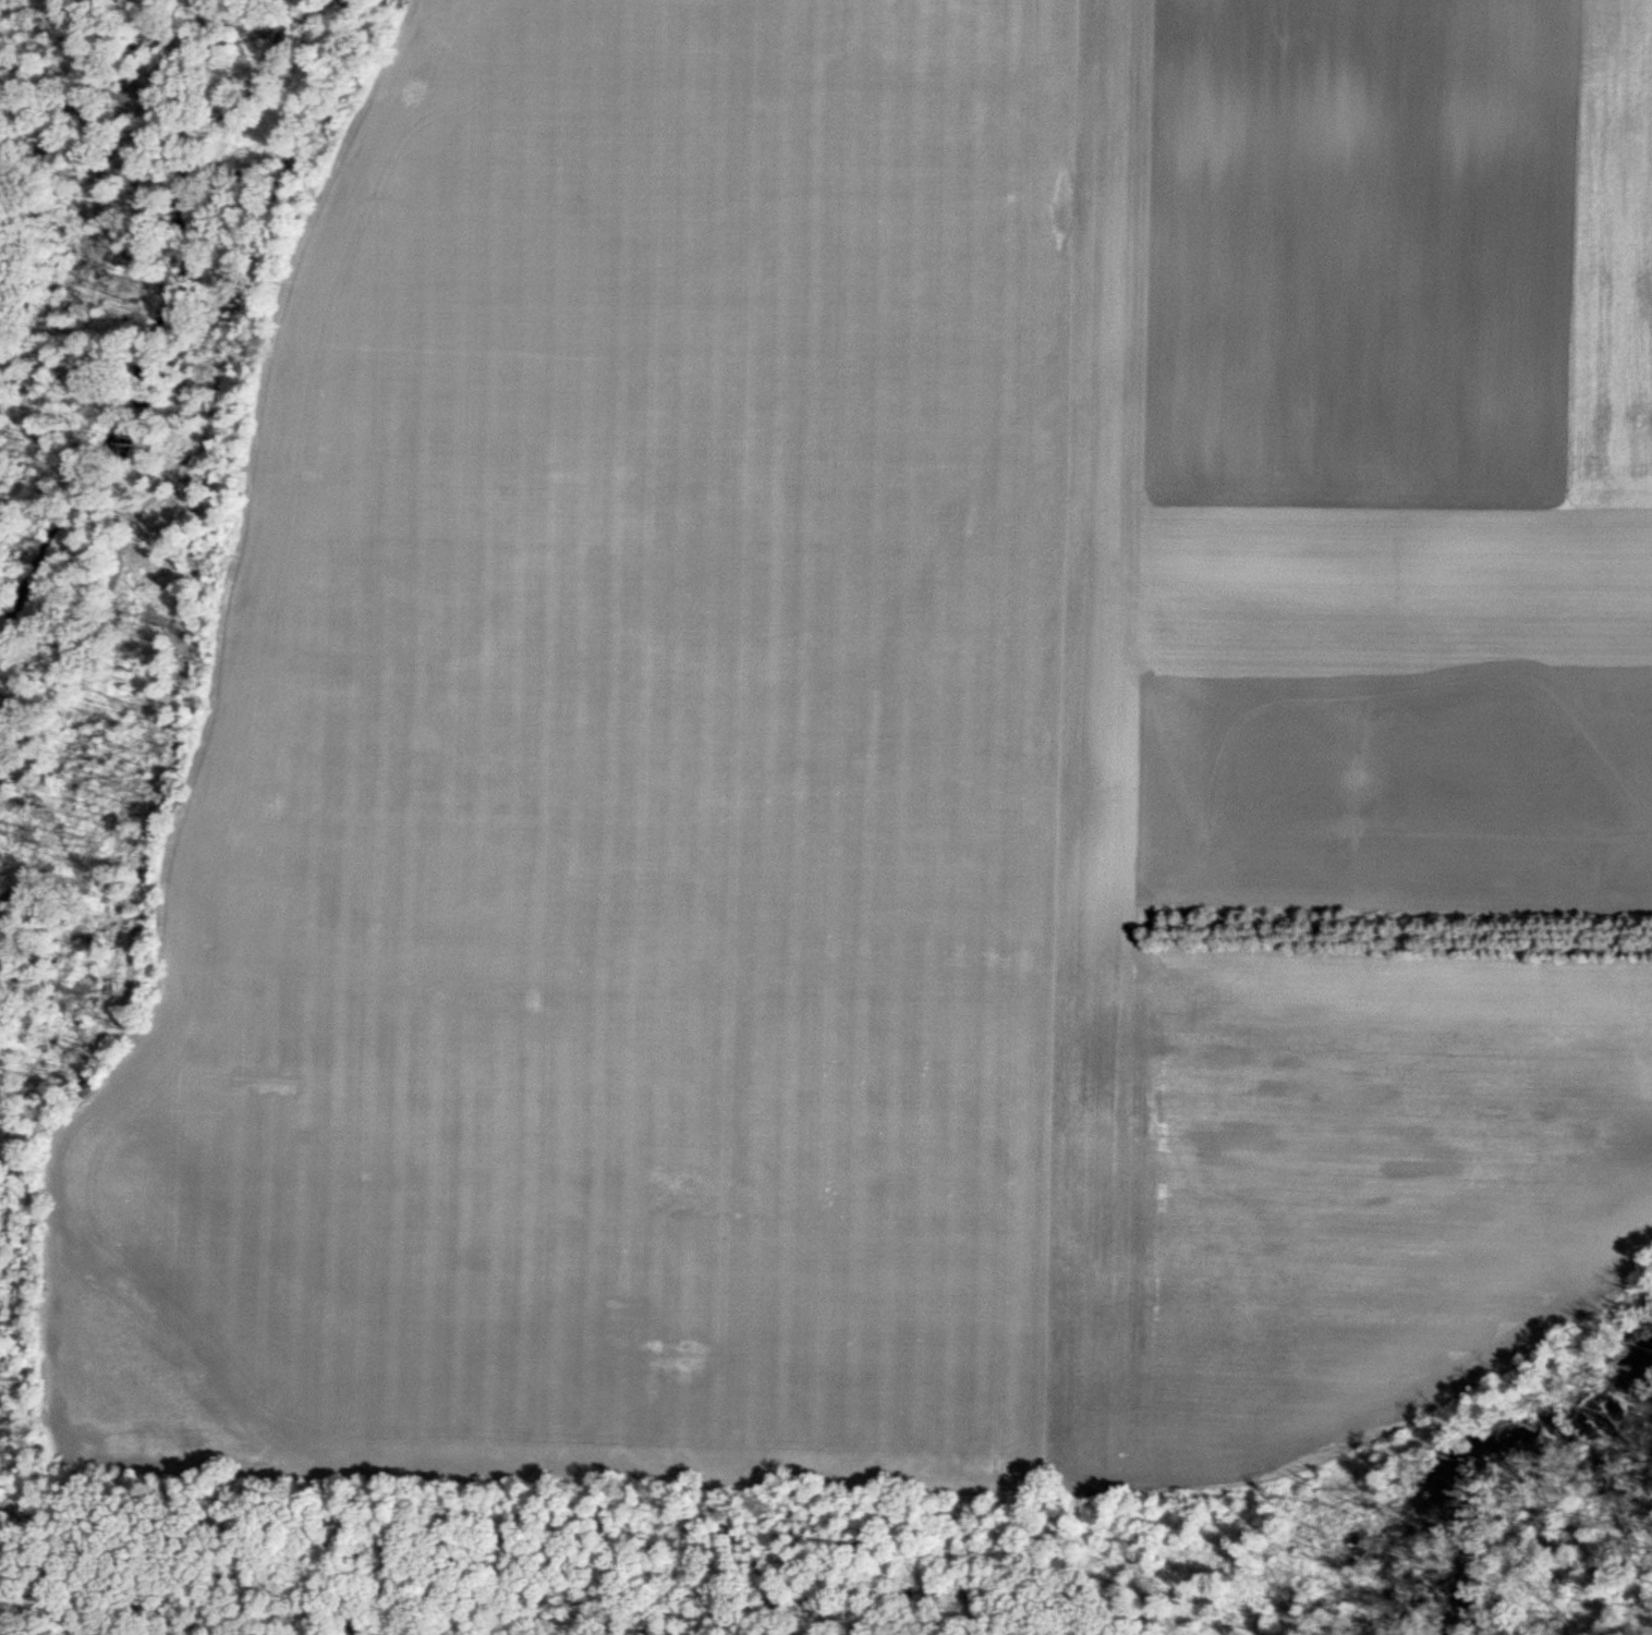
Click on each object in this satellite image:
river: (170, 295)
river: (1617, 1523)

